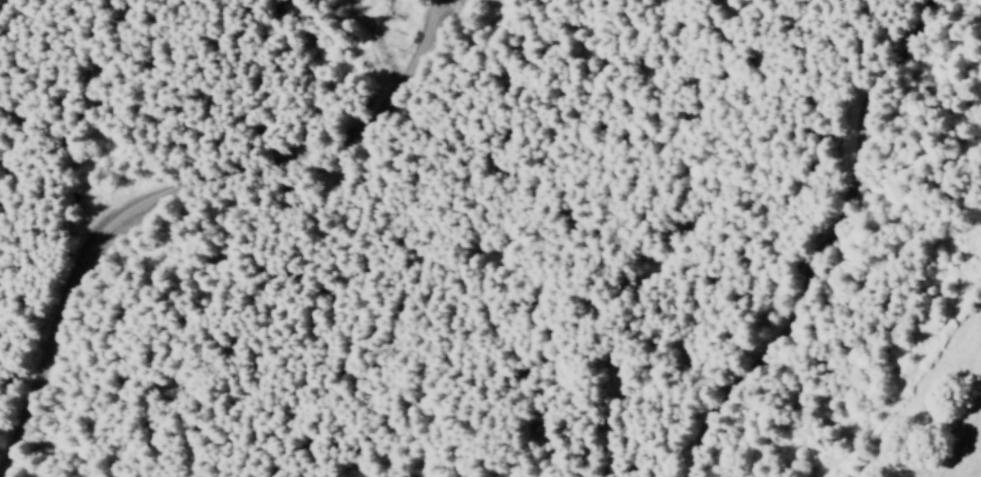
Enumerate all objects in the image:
road: (176, 189)

